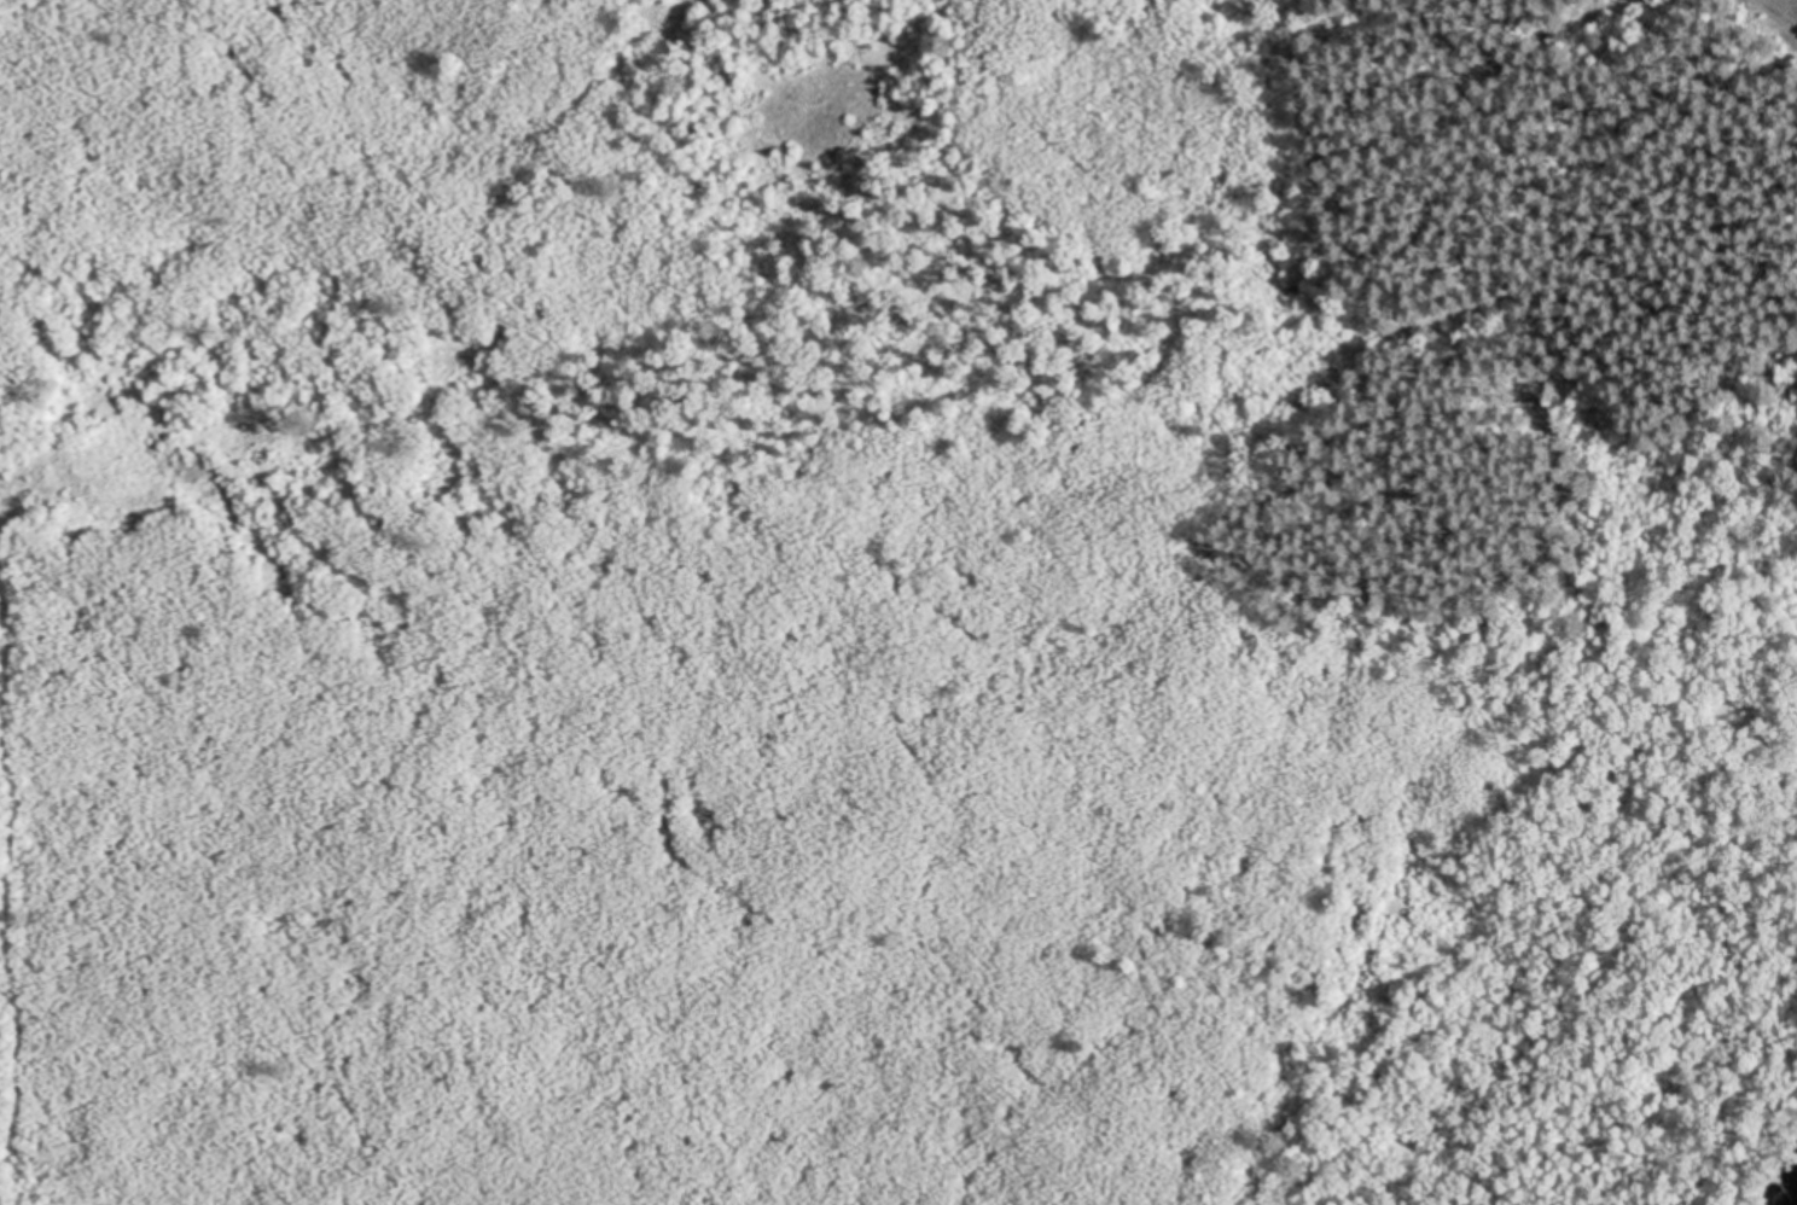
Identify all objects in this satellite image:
road: (1786, 5)
road: (10, 605)

